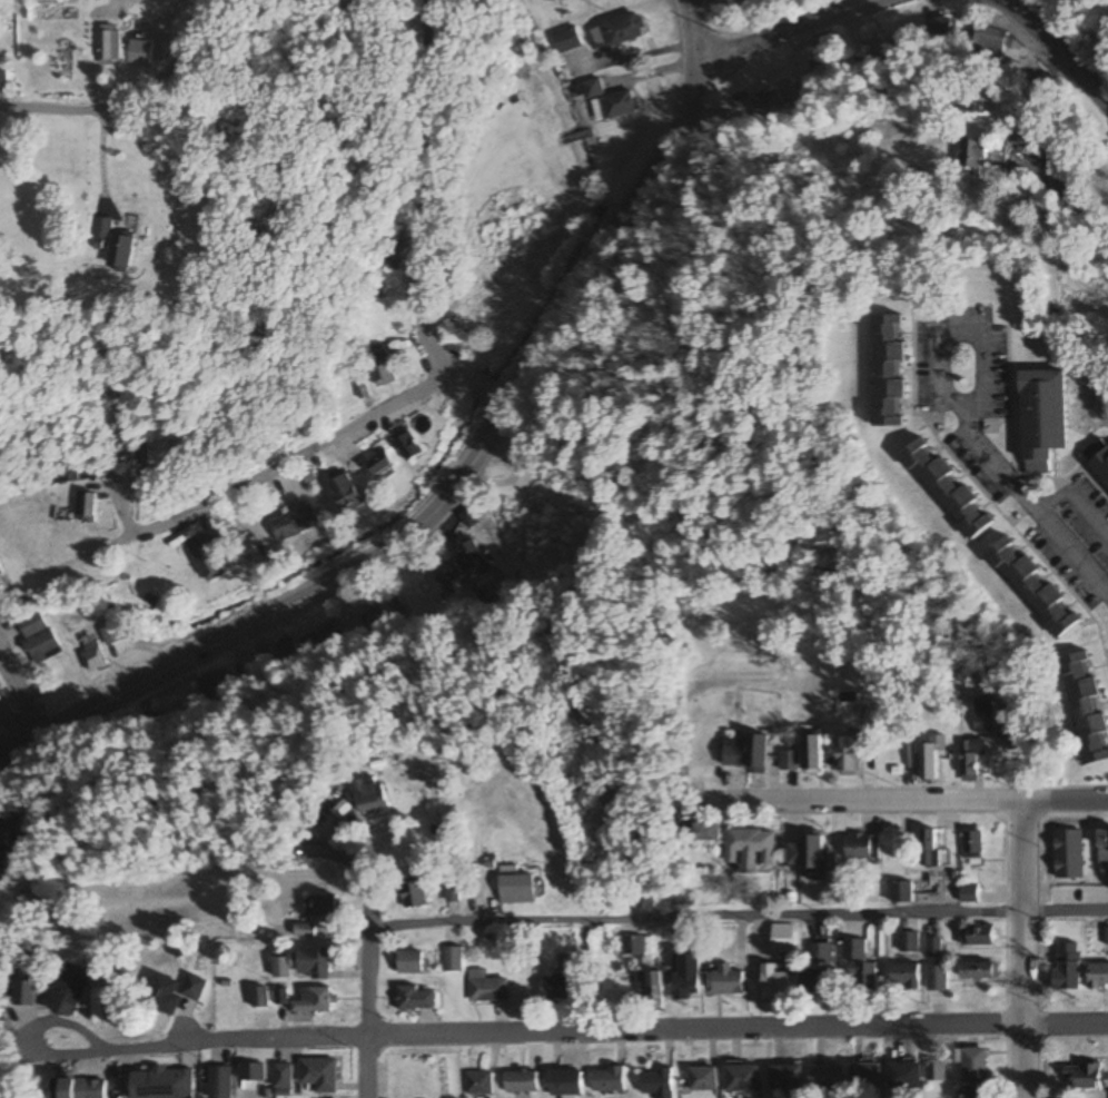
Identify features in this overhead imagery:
road: (787, 30)
building: (617, 31)
building: (943, 32)
building: (567, 40)
building: (990, 42)
building: (109, 43)
road: (1055, 51)
building: (139, 52)
building: (825, 72)
building: (2, 79)
building: (594, 88)
building: (961, 99)
road: (128, 100)
building: (615, 105)
building: (768, 105)
building: (972, 154)
road: (101, 157)
road: (425, 190)
building: (101, 234)
building: (394, 249)
building: (120, 253)
building: (382, 368)
building: (889, 370)
road: (482, 383)
building: (1041, 418)
building: (408, 446)
building: (140, 454)
building: (1098, 459)
building: (379, 464)
road: (267, 471)
building: (73, 474)
road: (459, 475)
road: (1001, 481)
building: (948, 488)
building: (346, 494)
building: (87, 507)
building: (296, 524)
building: (468, 553)
building: (208, 563)
building: (0, 571)
building: (446, 573)
building: (1033, 586)
building: (376, 625)
building: (111, 634)
building: (38, 637)
building: (321, 641)
building: (287, 653)
building: (92, 654)
building: (215, 684)
building: (0, 701)
building: (1086, 709)
road: (14, 716)
building: (983, 718)
building: (745, 753)
building: (812, 753)
building: (849, 755)
building: (928, 758)
building: (975, 760)
building: (788, 761)
building: (366, 795)
road: (1064, 801)
road: (855, 802)
building: (709, 832)
building: (863, 847)
building: (929, 848)
building: (973, 848)
building: (1104, 848)
building: (751, 849)
building: (809, 853)
building: (0, 860)
building: (508, 868)
building: (517, 889)
building: (452, 892)
building: (902, 892)
building: (413, 893)
building: (970, 894)
building: (323, 906)
road: (725, 910)
road: (350, 920)
building: (304, 931)
building: (980, 936)
building: (782, 942)
building: (909, 942)
building: (633, 946)
building: (934, 947)
road: (1023, 950)
building: (820, 953)
building: (453, 959)
building: (412, 961)
building: (315, 962)
building: (859, 966)
building: (1068, 967)
building: (980, 971)
building: (1099, 976)
building: (906, 977)
building: (687, 978)
building: (937, 979)
building: (726, 980)
building: (815, 981)
building: (774, 982)
building: (558, 983)
building: (191, 987)
building: (487, 988)
building: (651, 988)
building: (67, 991)
building: (22, 993)
building: (160, 995)
building: (258, 997)
building: (417, 998)
building: (313, 1000)
road: (567, 1031)
building: (975, 1066)
building: (936, 1071)
building: (253, 1074)
building: (318, 1075)
building: (904, 1077)
building: (281, 1078)
building: (743, 1078)
building: (787, 1078)
building: (1084, 1078)
building: (828, 1079)
building: (864, 1079)
building: (607, 1080)
building: (703, 1080)
building: (219, 1081)
building: (171, 1082)
building: (520, 1082)
building: (478, 1084)
building: (565, 1084)
building: (656, 1084)
building: (77, 1088)
building: (976, 1092)

